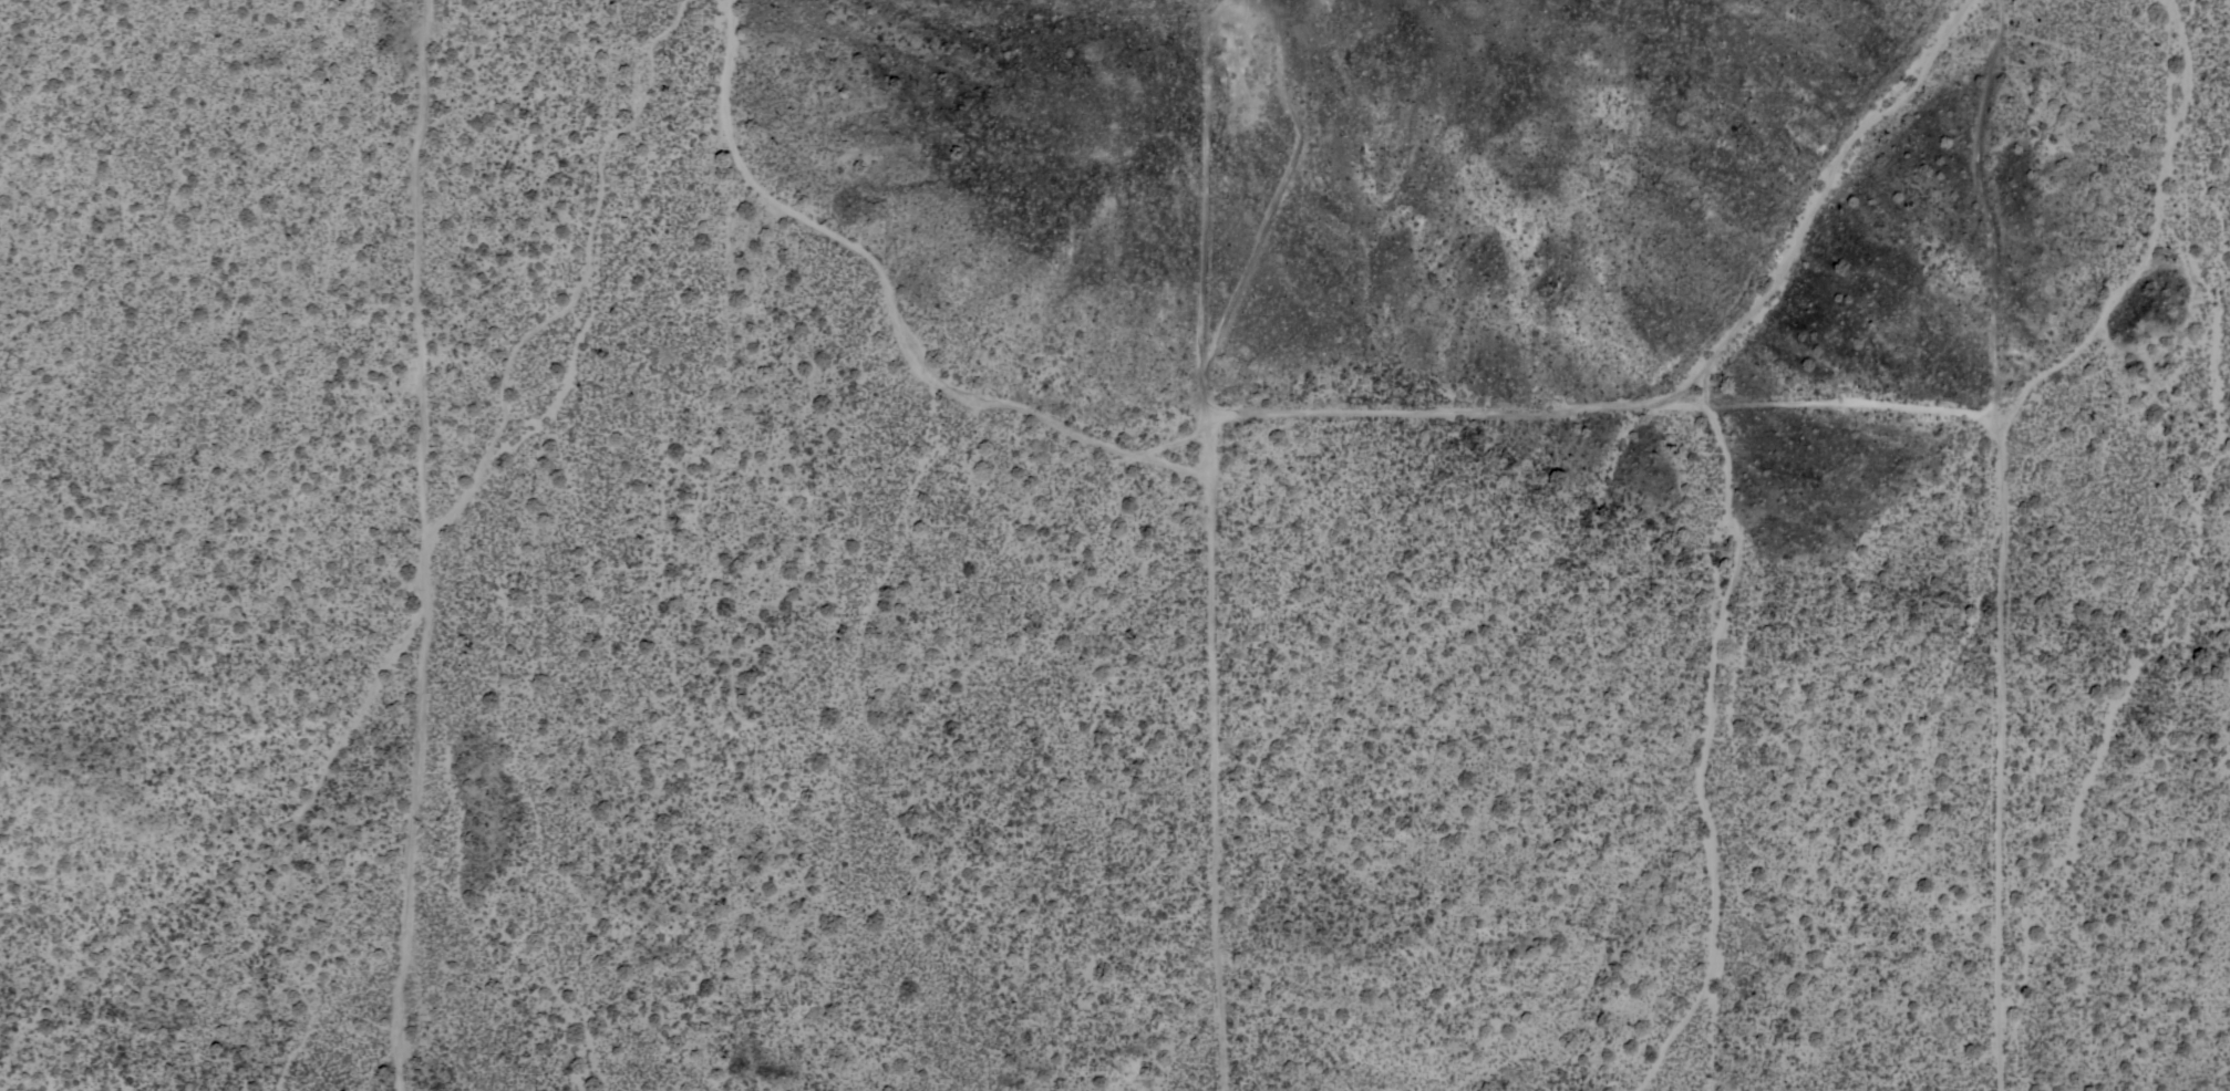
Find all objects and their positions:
road: (1999, 545)

